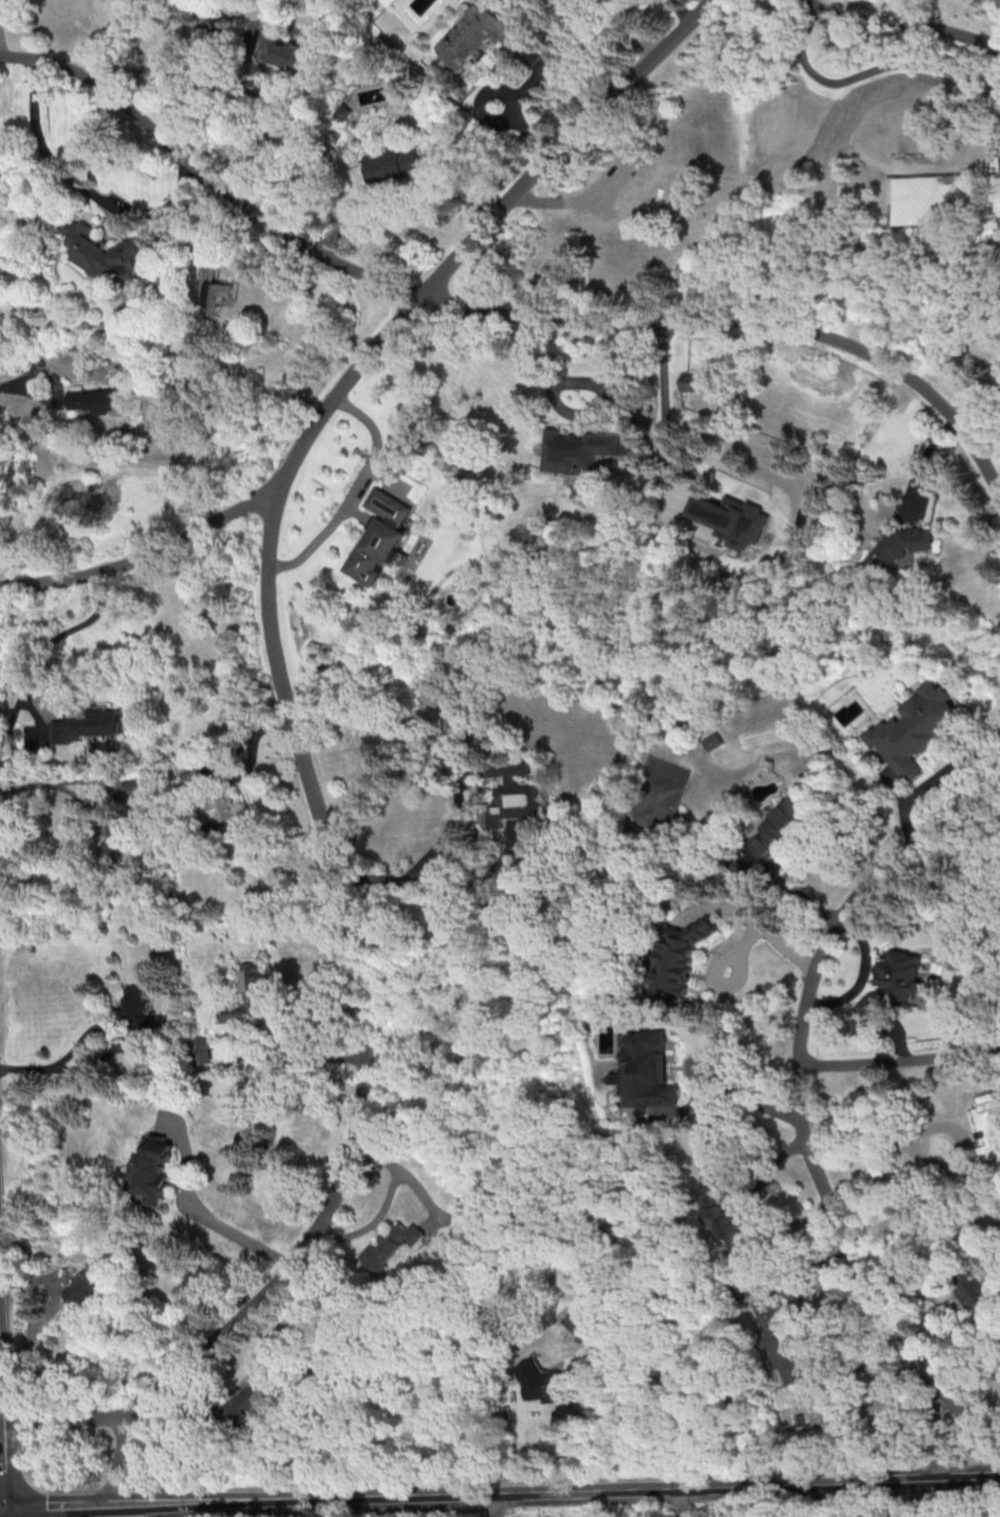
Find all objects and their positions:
road: (904, 25)
building: (480, 33)
road: (3, 40)
building: (291, 58)
road: (867, 70)
road: (200, 71)
road: (526, 88)
building: (346, 114)
road: (230, 129)
road: (527, 130)
building: (394, 163)
road: (81, 182)
road: (400, 190)
building: (106, 252)
building: (217, 287)
road: (496, 312)
building: (687, 381)
building: (94, 401)
road: (667, 405)
road: (575, 416)
building: (578, 452)
road: (361, 493)
building: (736, 518)
building: (383, 539)
building: (906, 546)
road: (145, 551)
road: (38, 658)
road: (279, 671)
building: (89, 725)
building: (915, 730)
building: (711, 741)
road: (49, 783)
building: (517, 792)
building: (219, 805)
building: (785, 823)
road: (445, 829)
building: (116, 844)
road: (769, 930)
building: (679, 958)
road: (863, 976)
building: (896, 981)
building: (249, 995)
building: (140, 1019)
building: (199, 1050)
road: (298, 1056)
road: (899, 1058)
road: (48, 1069)
building: (650, 1070)
road: (798, 1071)
road: (749, 1099)
road: (938, 1124)
road: (862, 1126)
building: (989, 1127)
building: (158, 1167)
road: (387, 1200)
building: (723, 1211)
road: (238, 1235)
building: (389, 1246)
building: (95, 1285)
building: (978, 1294)
building: (734, 1295)
building: (782, 1339)
road: (29, 1362)
building: (555, 1387)
building: (248, 1404)
road: (67, 1419)
road: (972, 1434)
road: (936, 1442)
road: (121, 1458)
road: (0, 1484)
road: (559, 1492)
road: (908, 1500)
road: (59, 1503)
road: (681, 1503)
road: (496, 1505)
road: (0, 1506)
traffic signals: (1, 1506)
road: (118, 1509)
road: (1, 1511)

